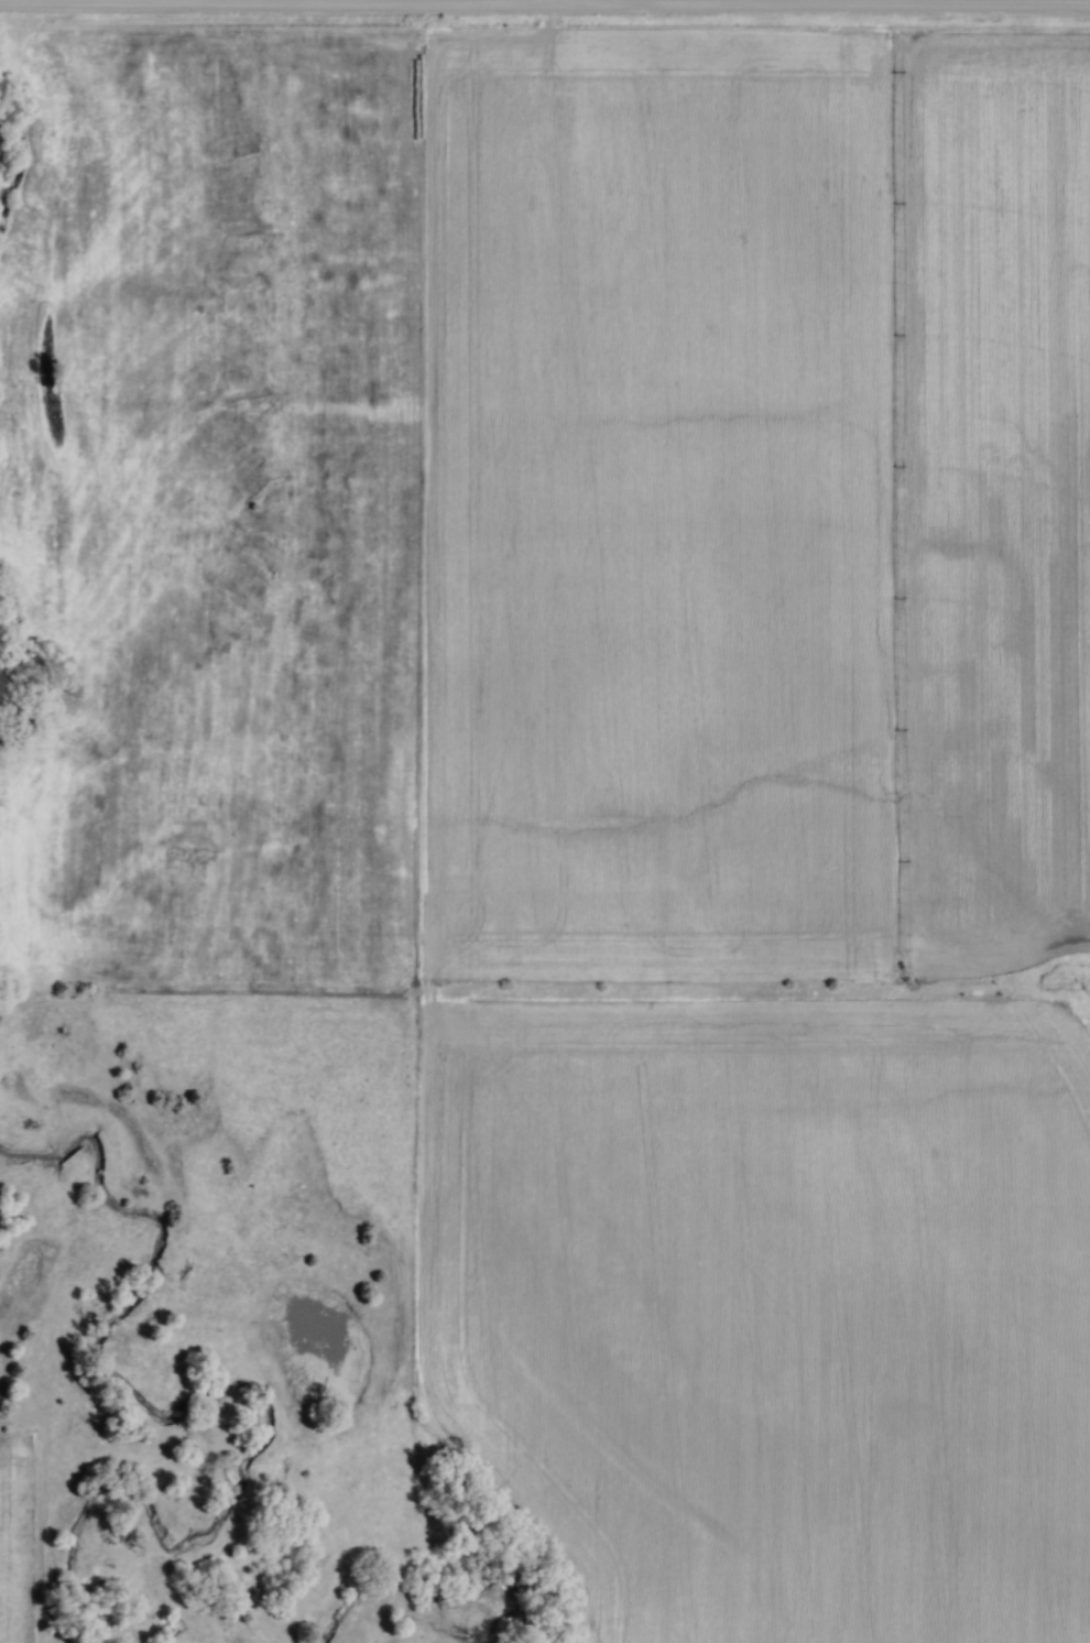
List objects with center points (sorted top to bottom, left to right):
road: (530, 4)
road: (633, 6)
road: (545, 9)

